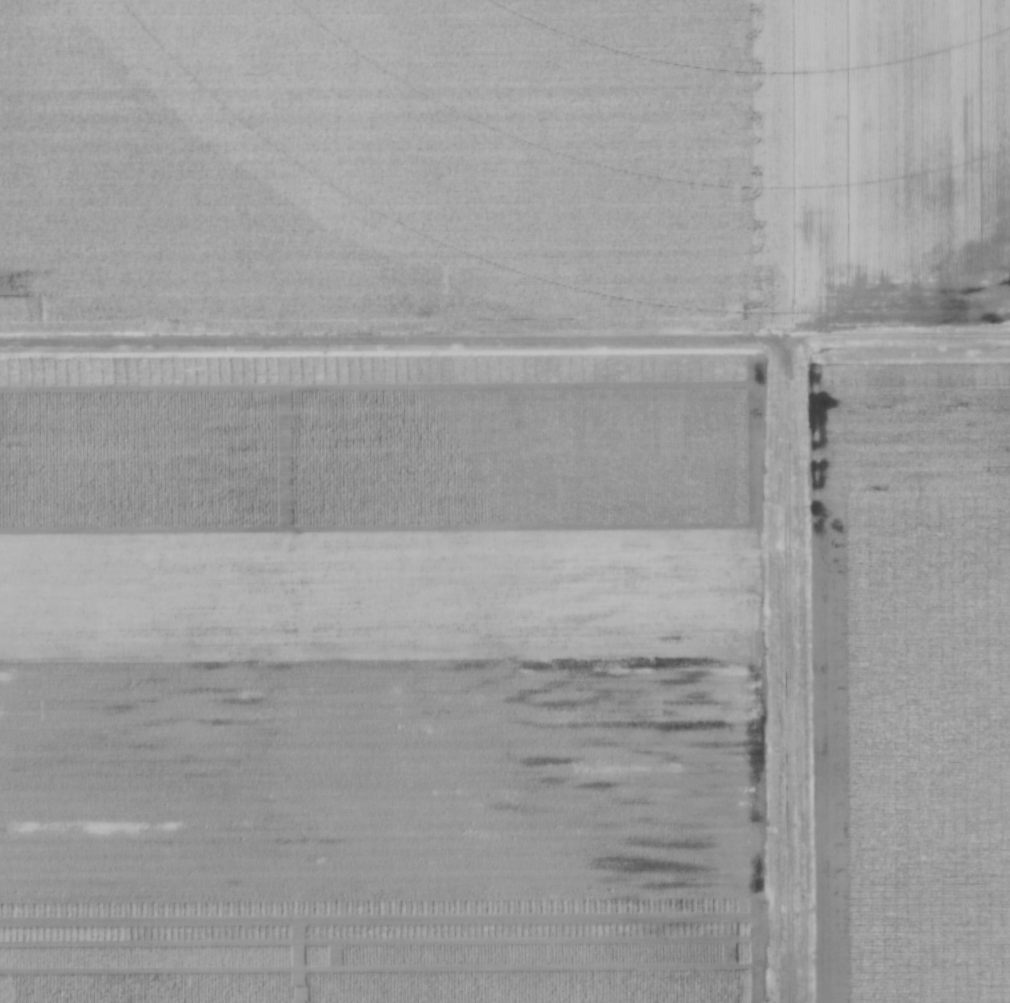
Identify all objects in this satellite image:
building: (321, 443)

